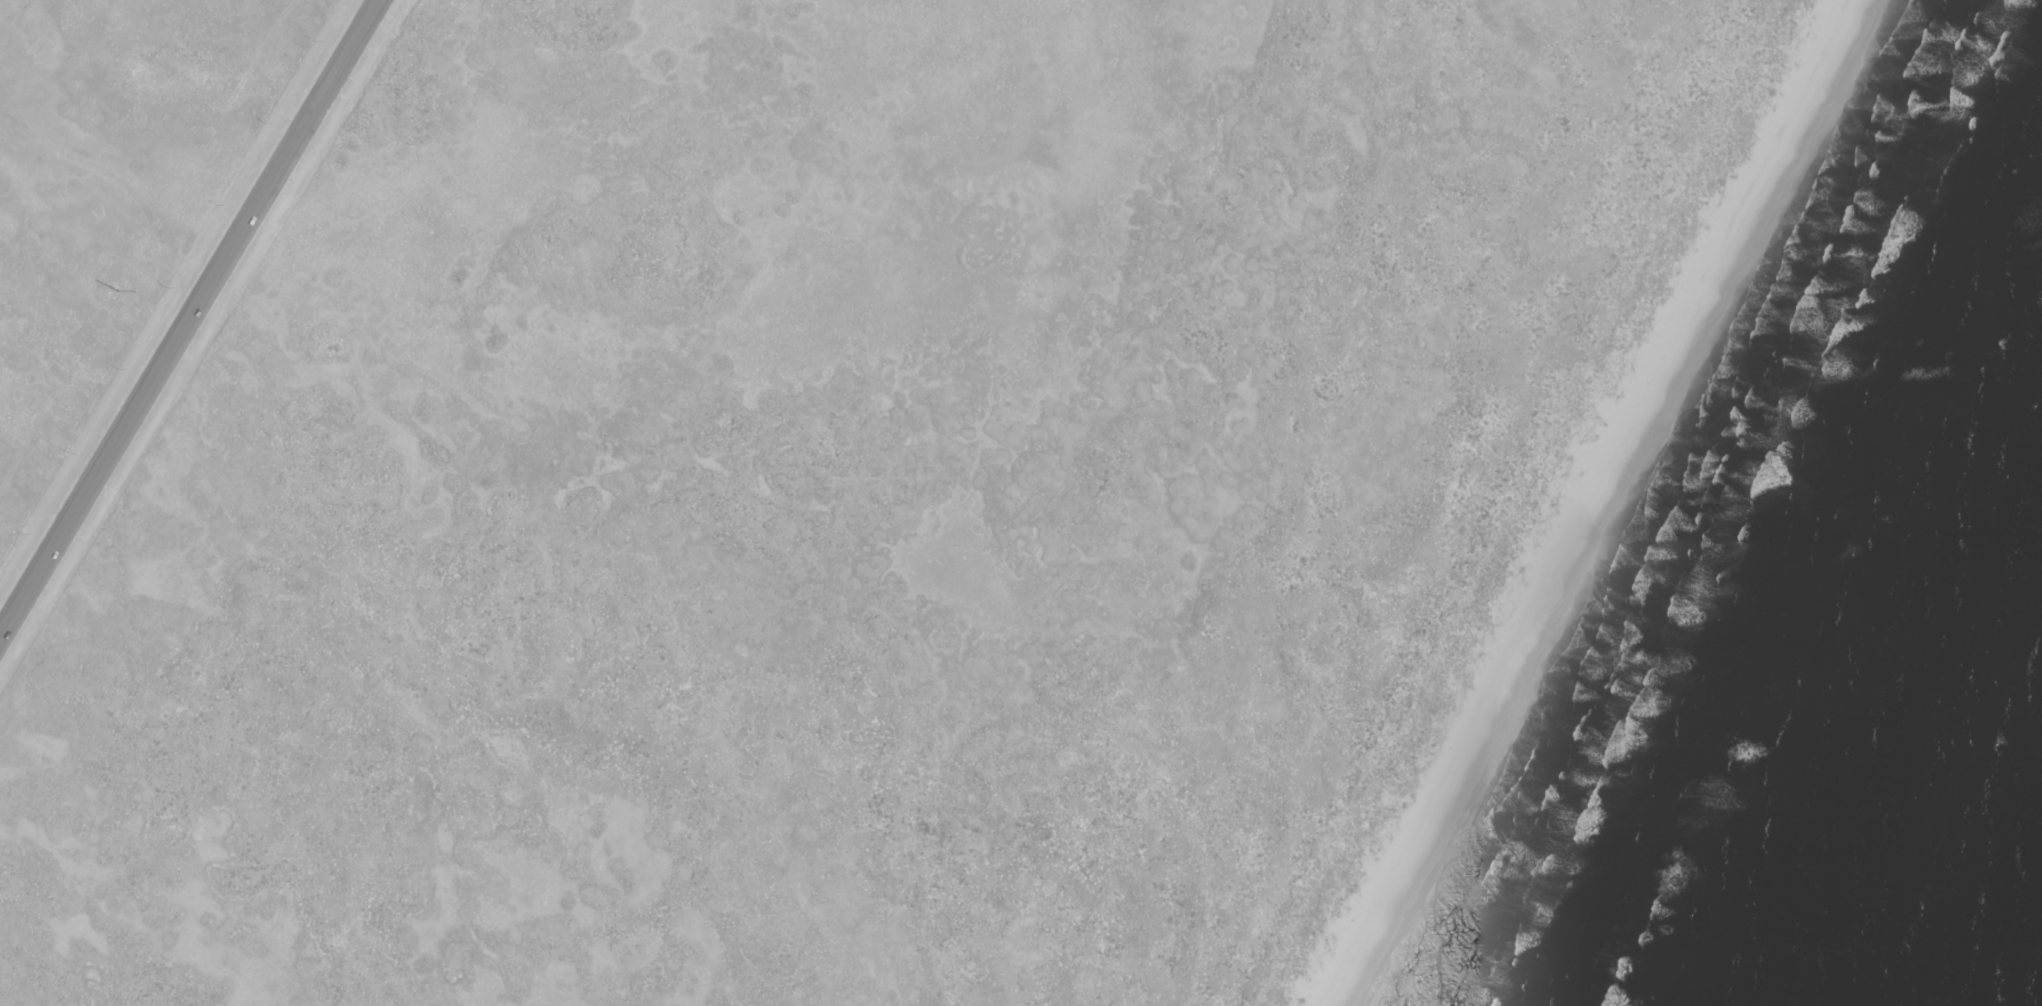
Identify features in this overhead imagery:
park: (113, 190)
power tower: (119, 292)
road: (193, 323)
park: (1031, 506)

